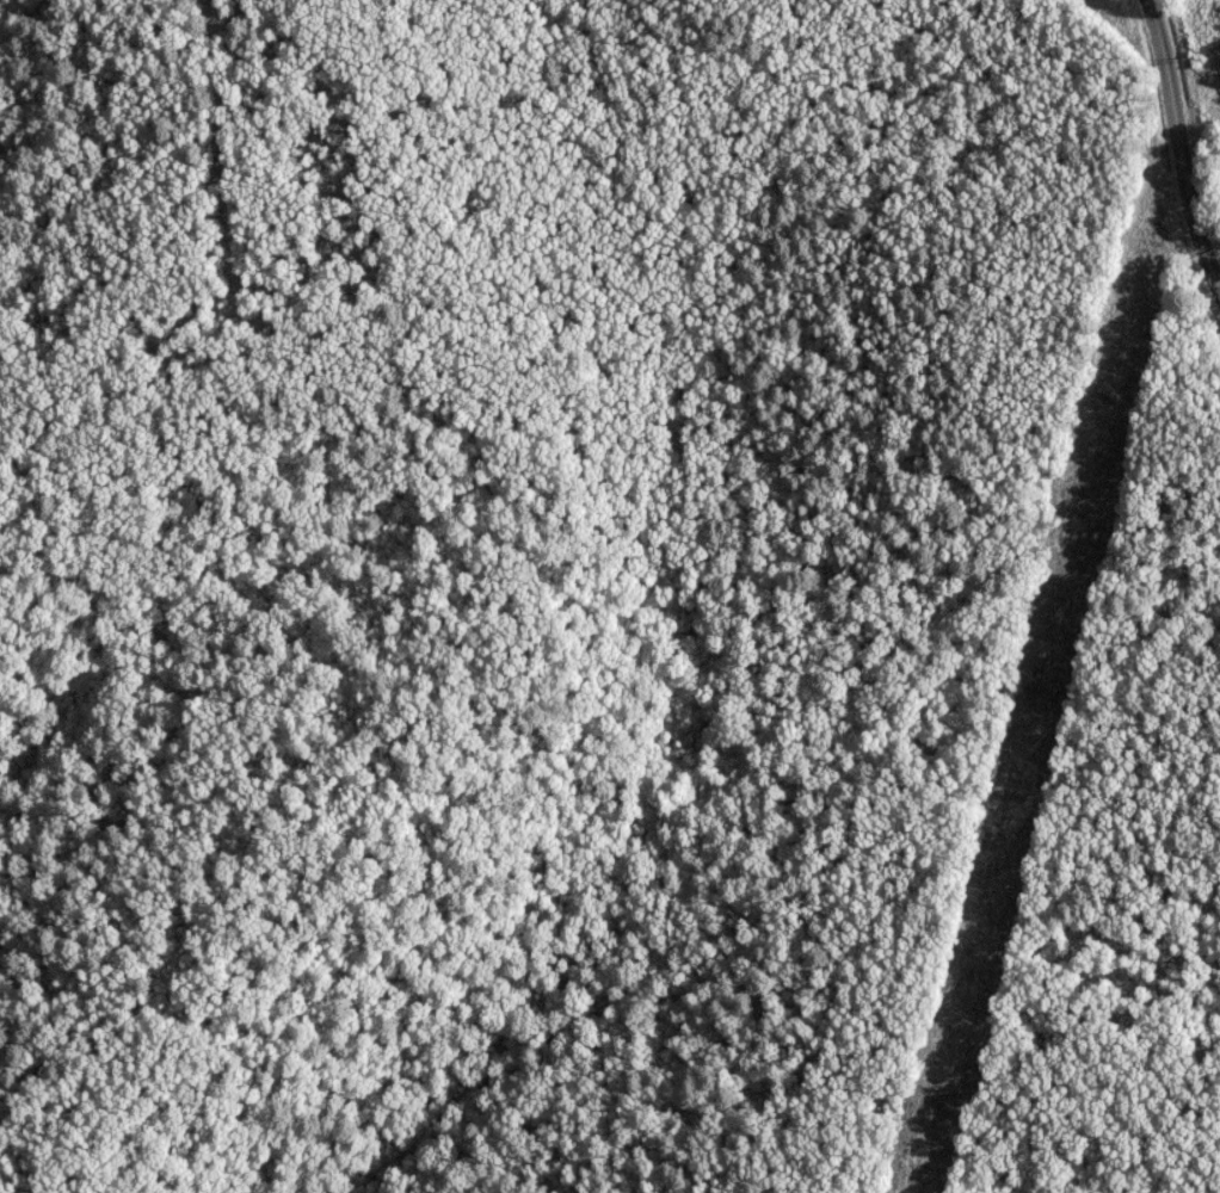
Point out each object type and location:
power tower: (1191, 57)
road: (1179, 146)
power tower: (1115, 373)
power tower: (960, 1014)

